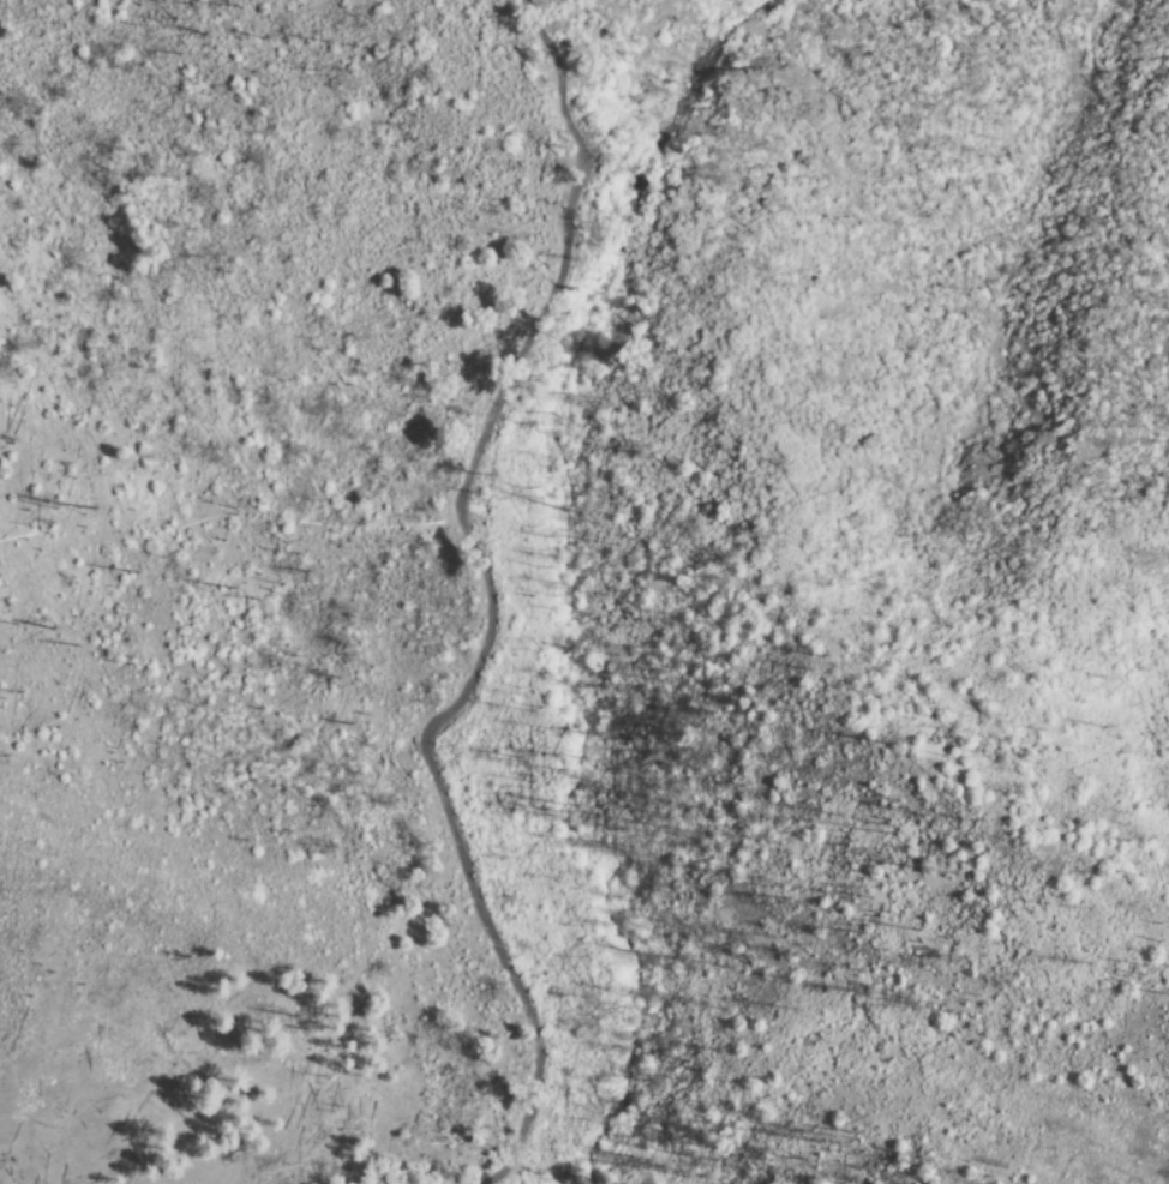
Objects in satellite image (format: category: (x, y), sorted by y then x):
road: (476, 613)

